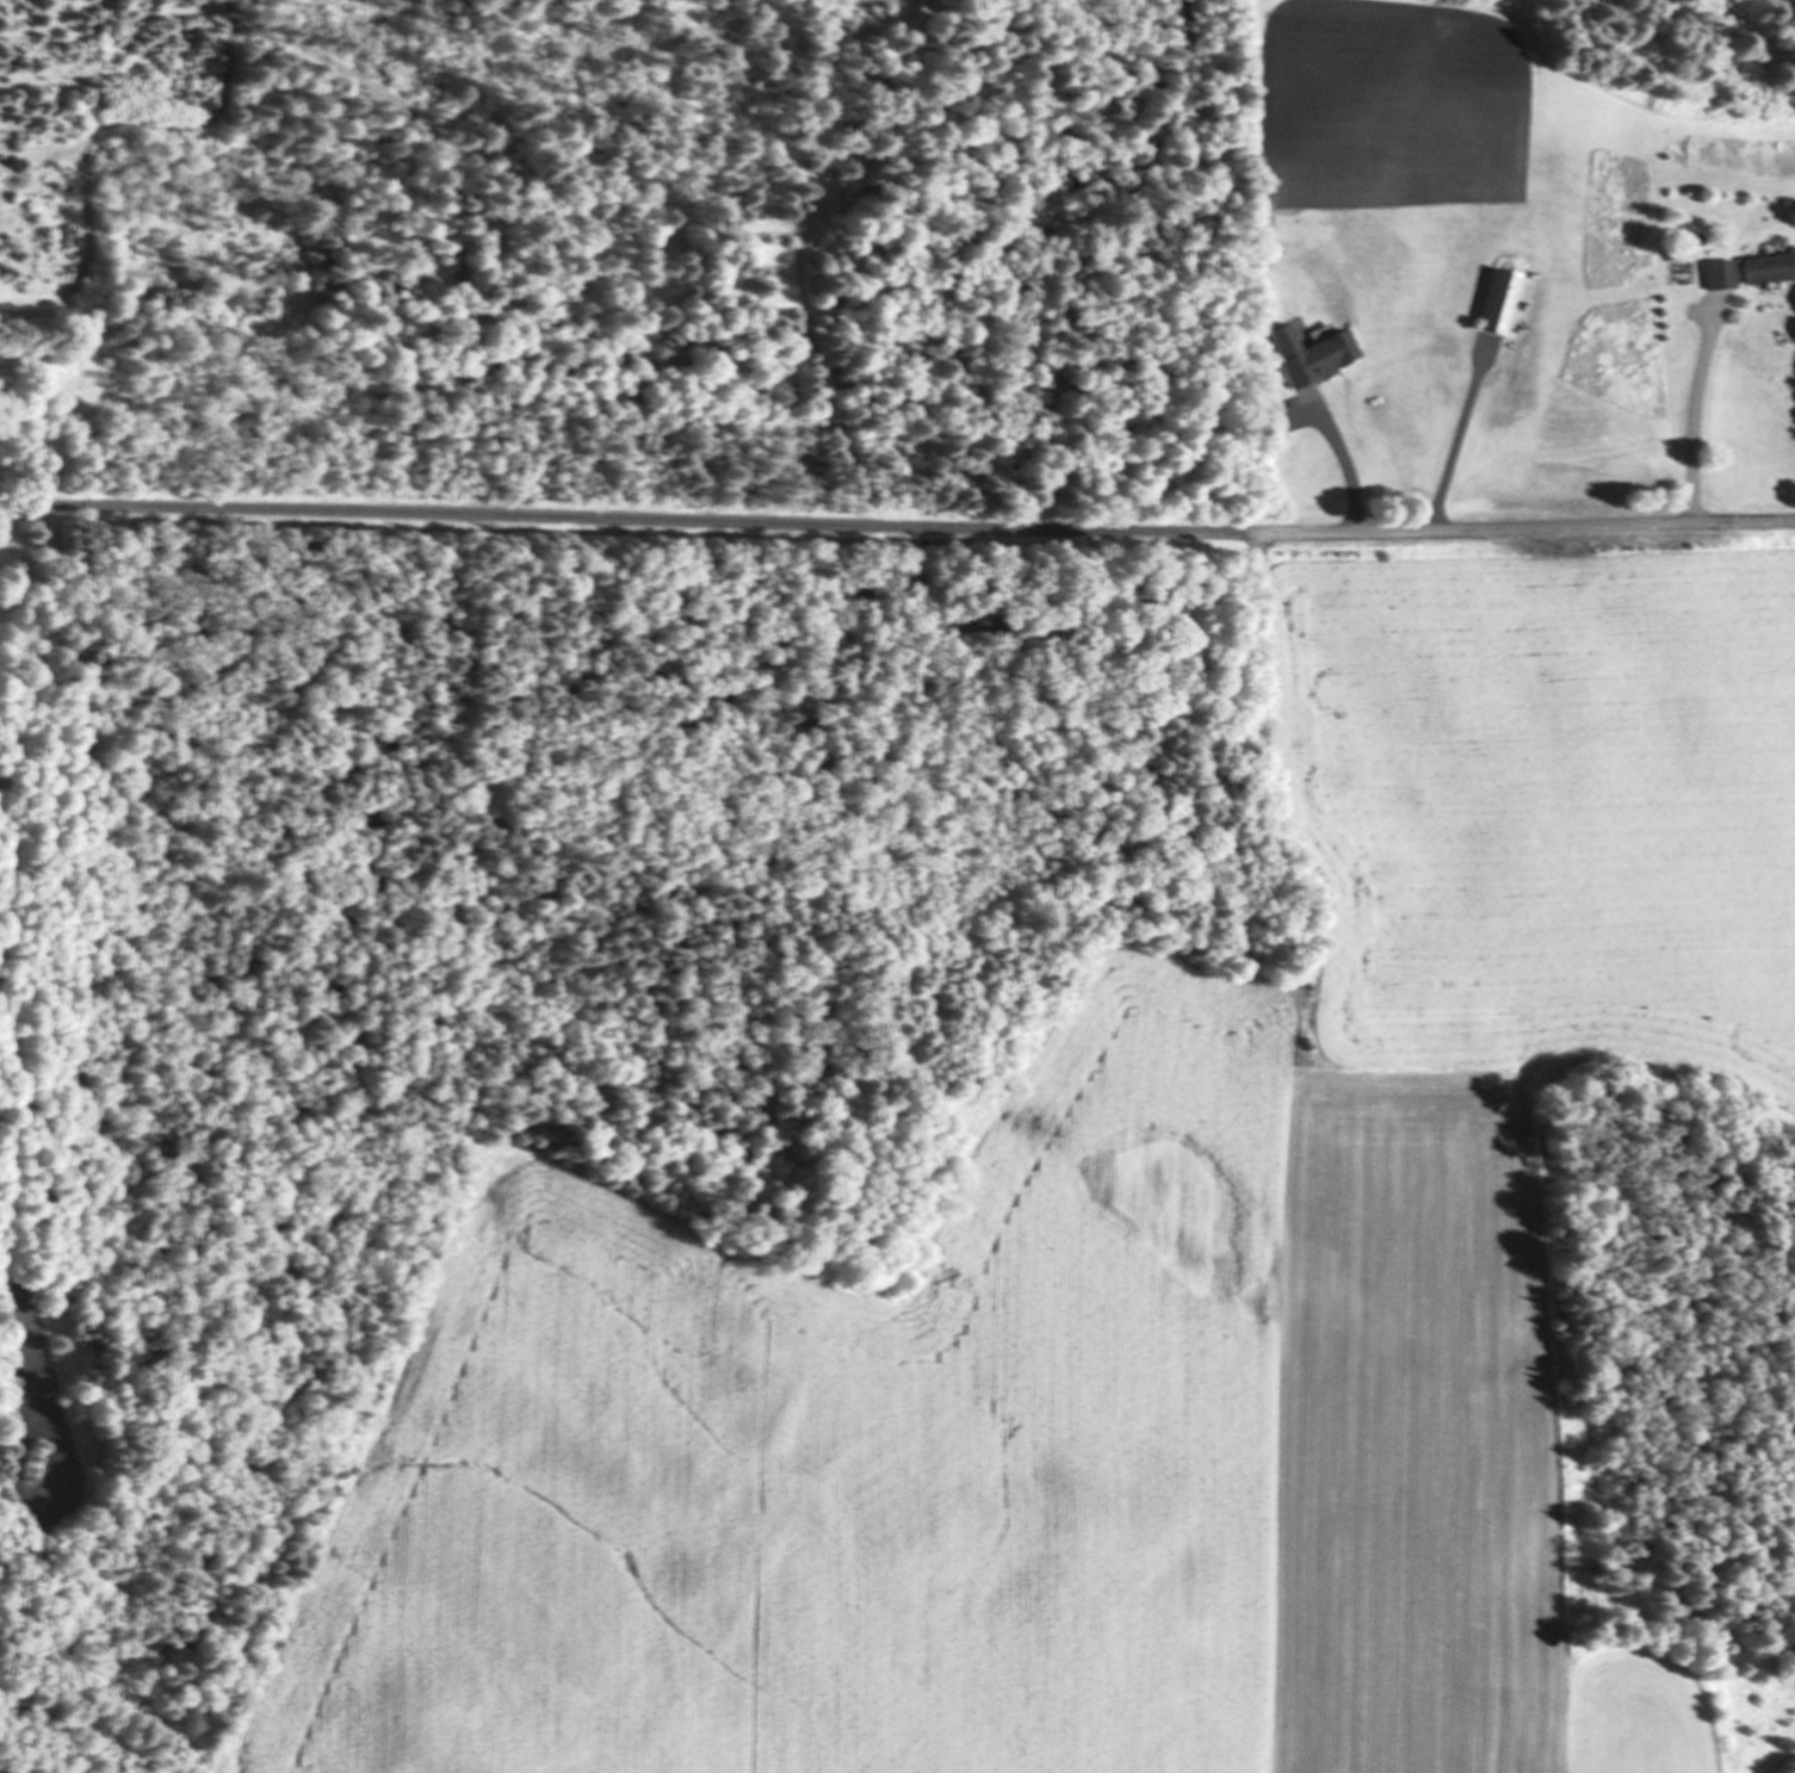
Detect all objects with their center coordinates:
building: (1747, 272)
building: (1504, 303)
building: (1317, 358)
road: (1694, 424)
road: (1456, 446)
road: (1348, 473)
road: (4, 506)
road: (900, 526)

